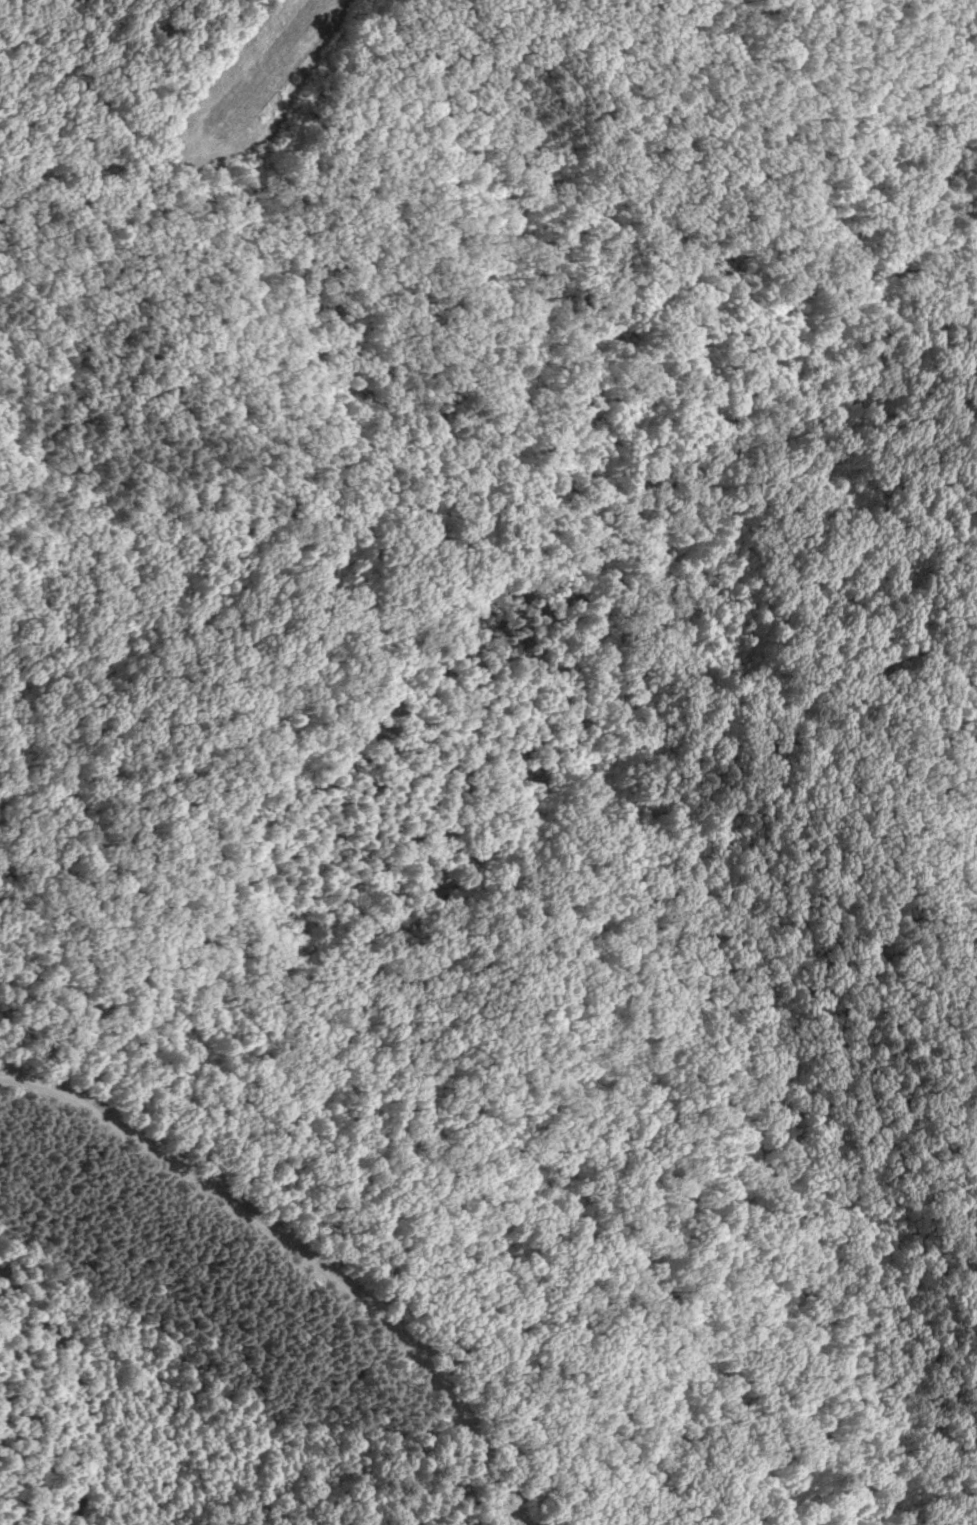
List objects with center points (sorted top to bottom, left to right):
road: (298, 1256)

